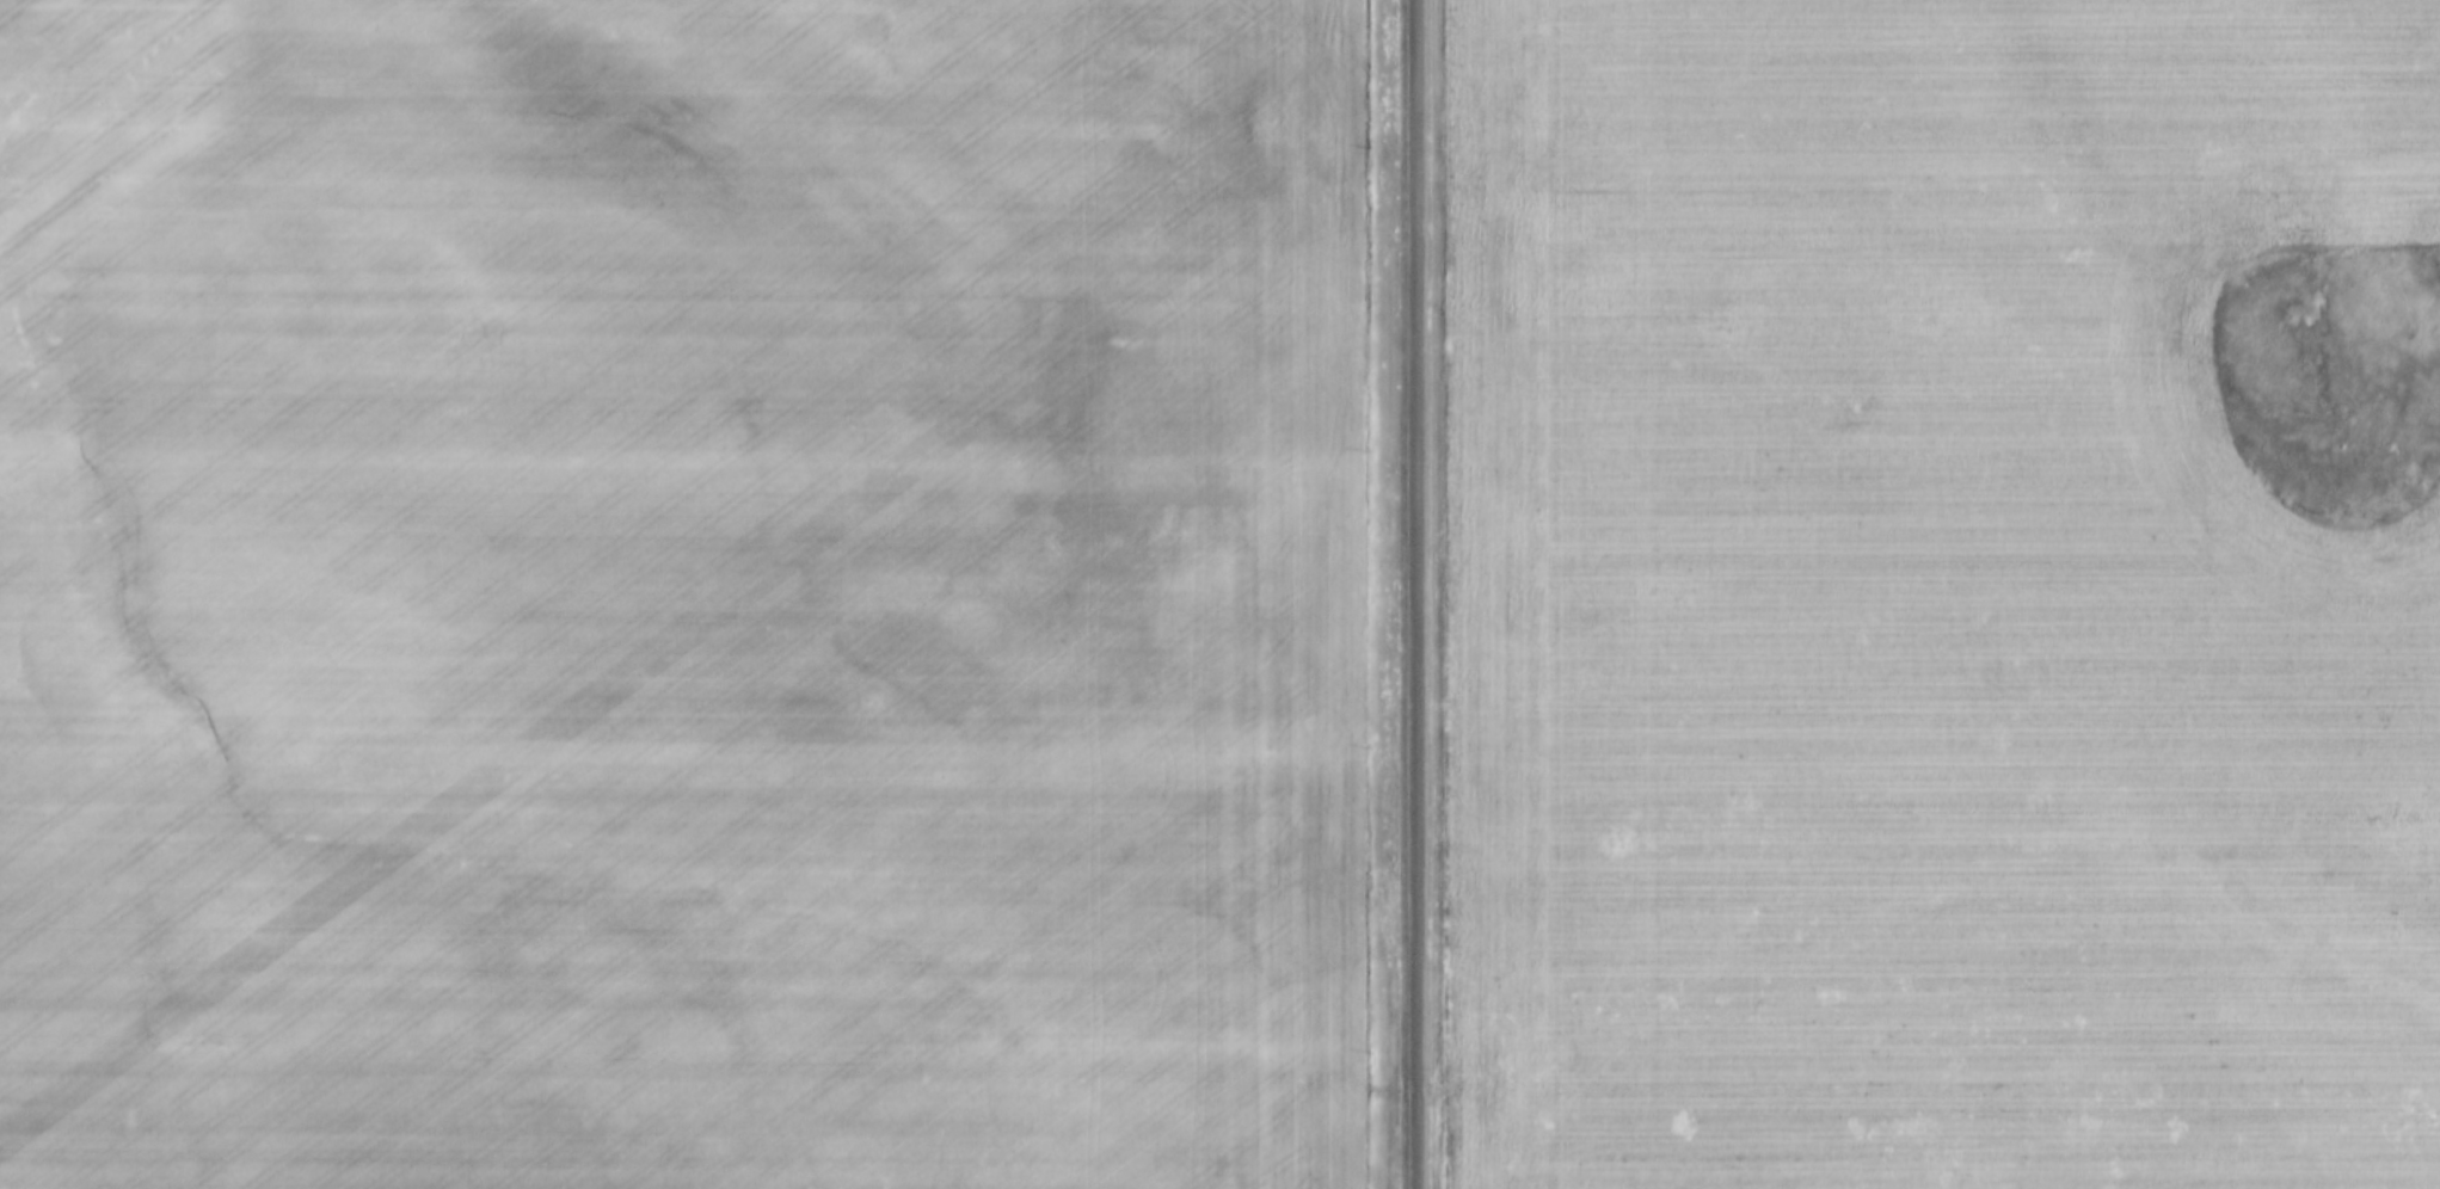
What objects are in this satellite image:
road: (1418, 594)

